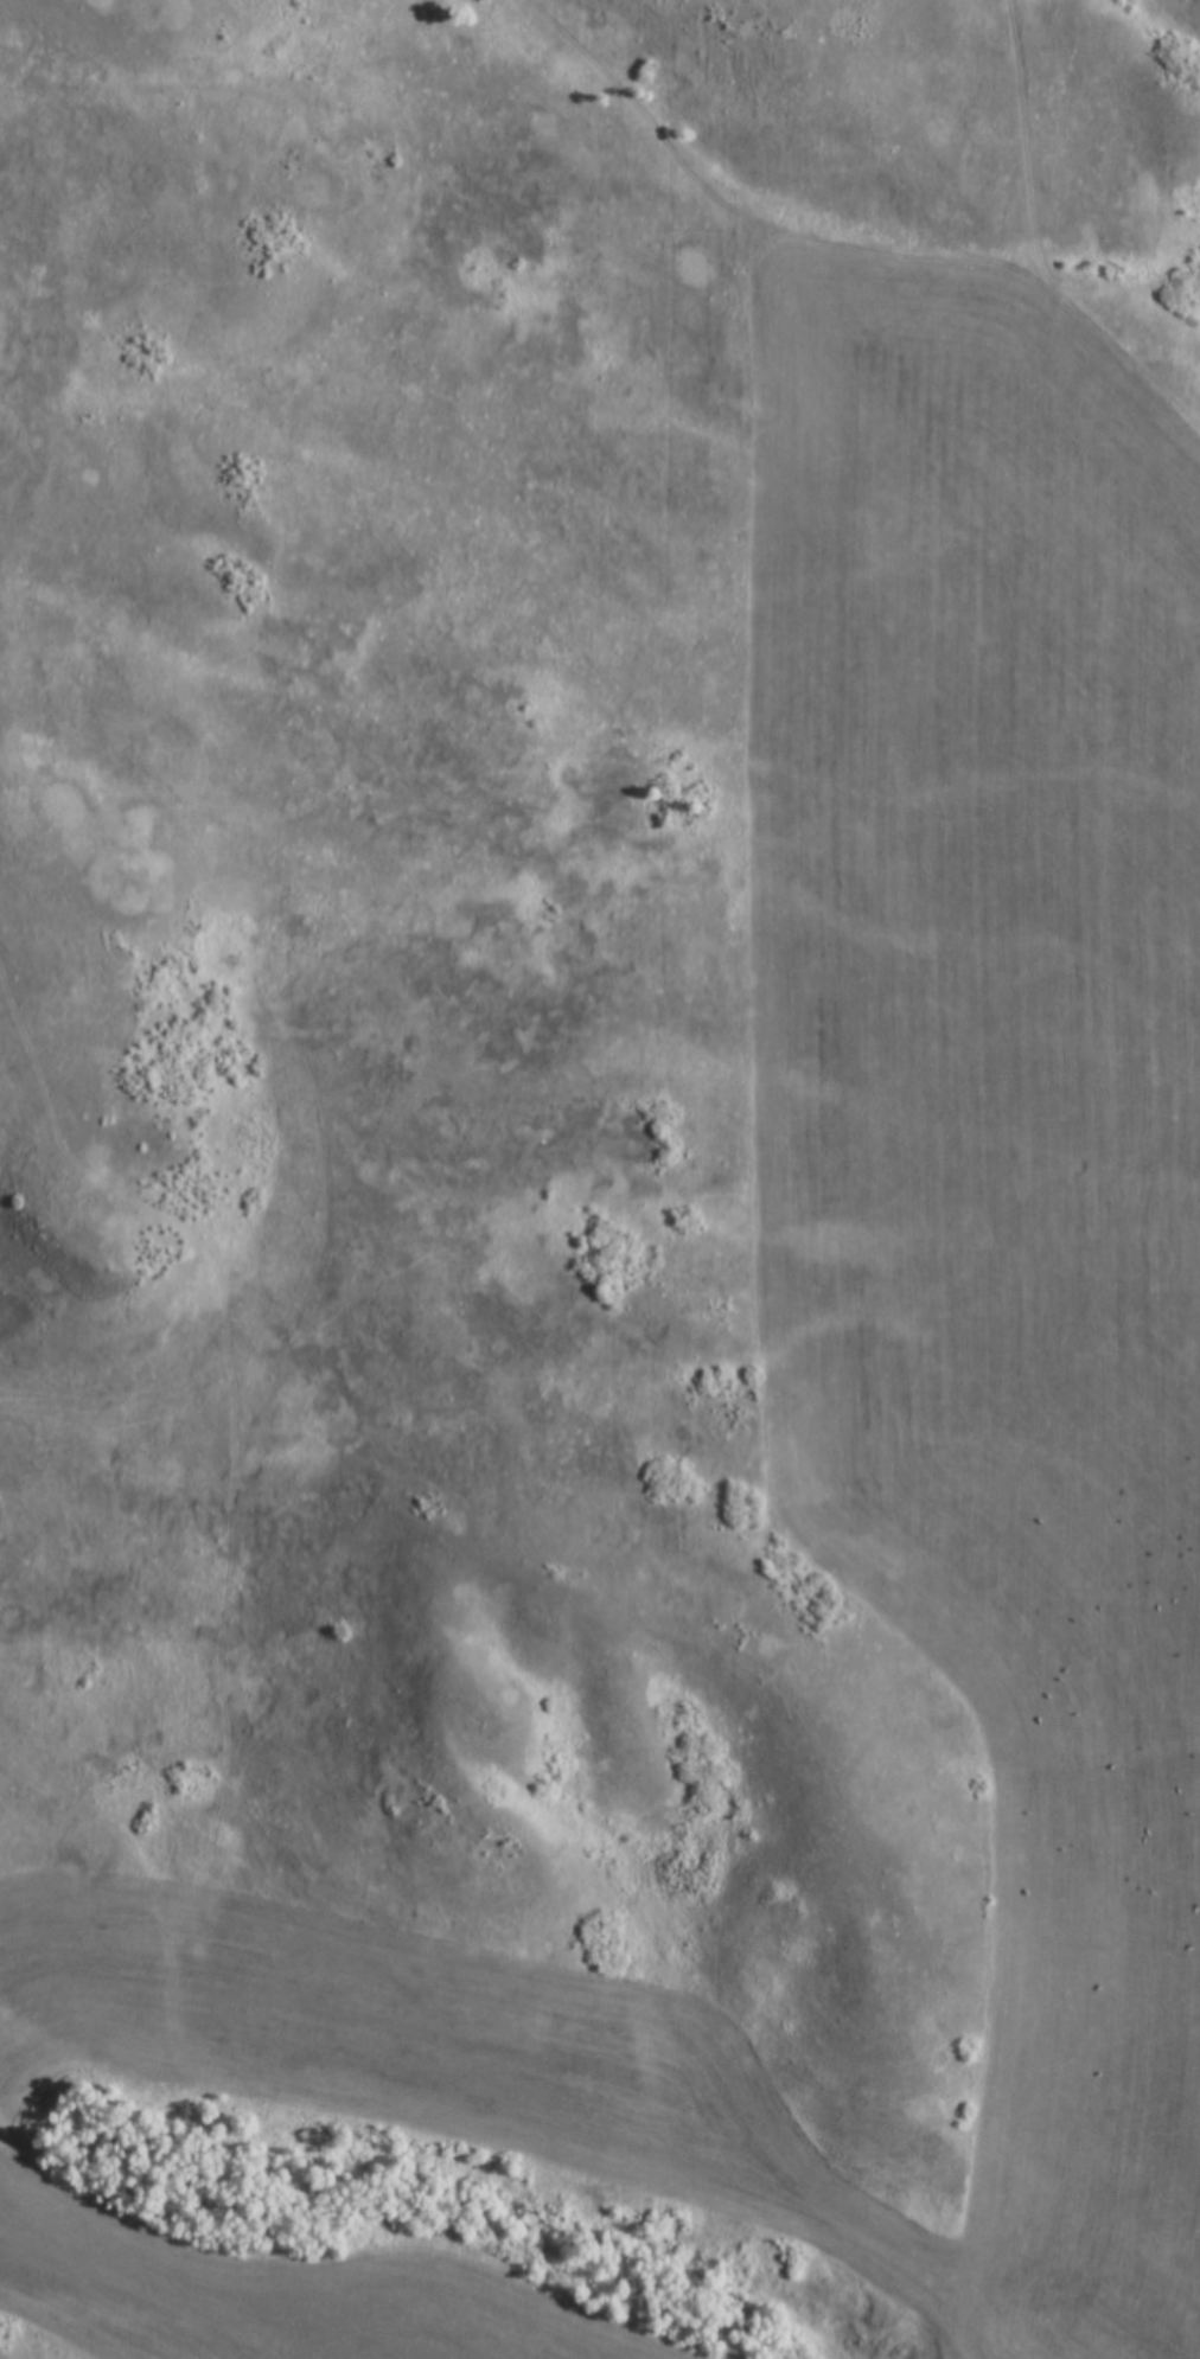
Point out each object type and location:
road: (1038, 266)

